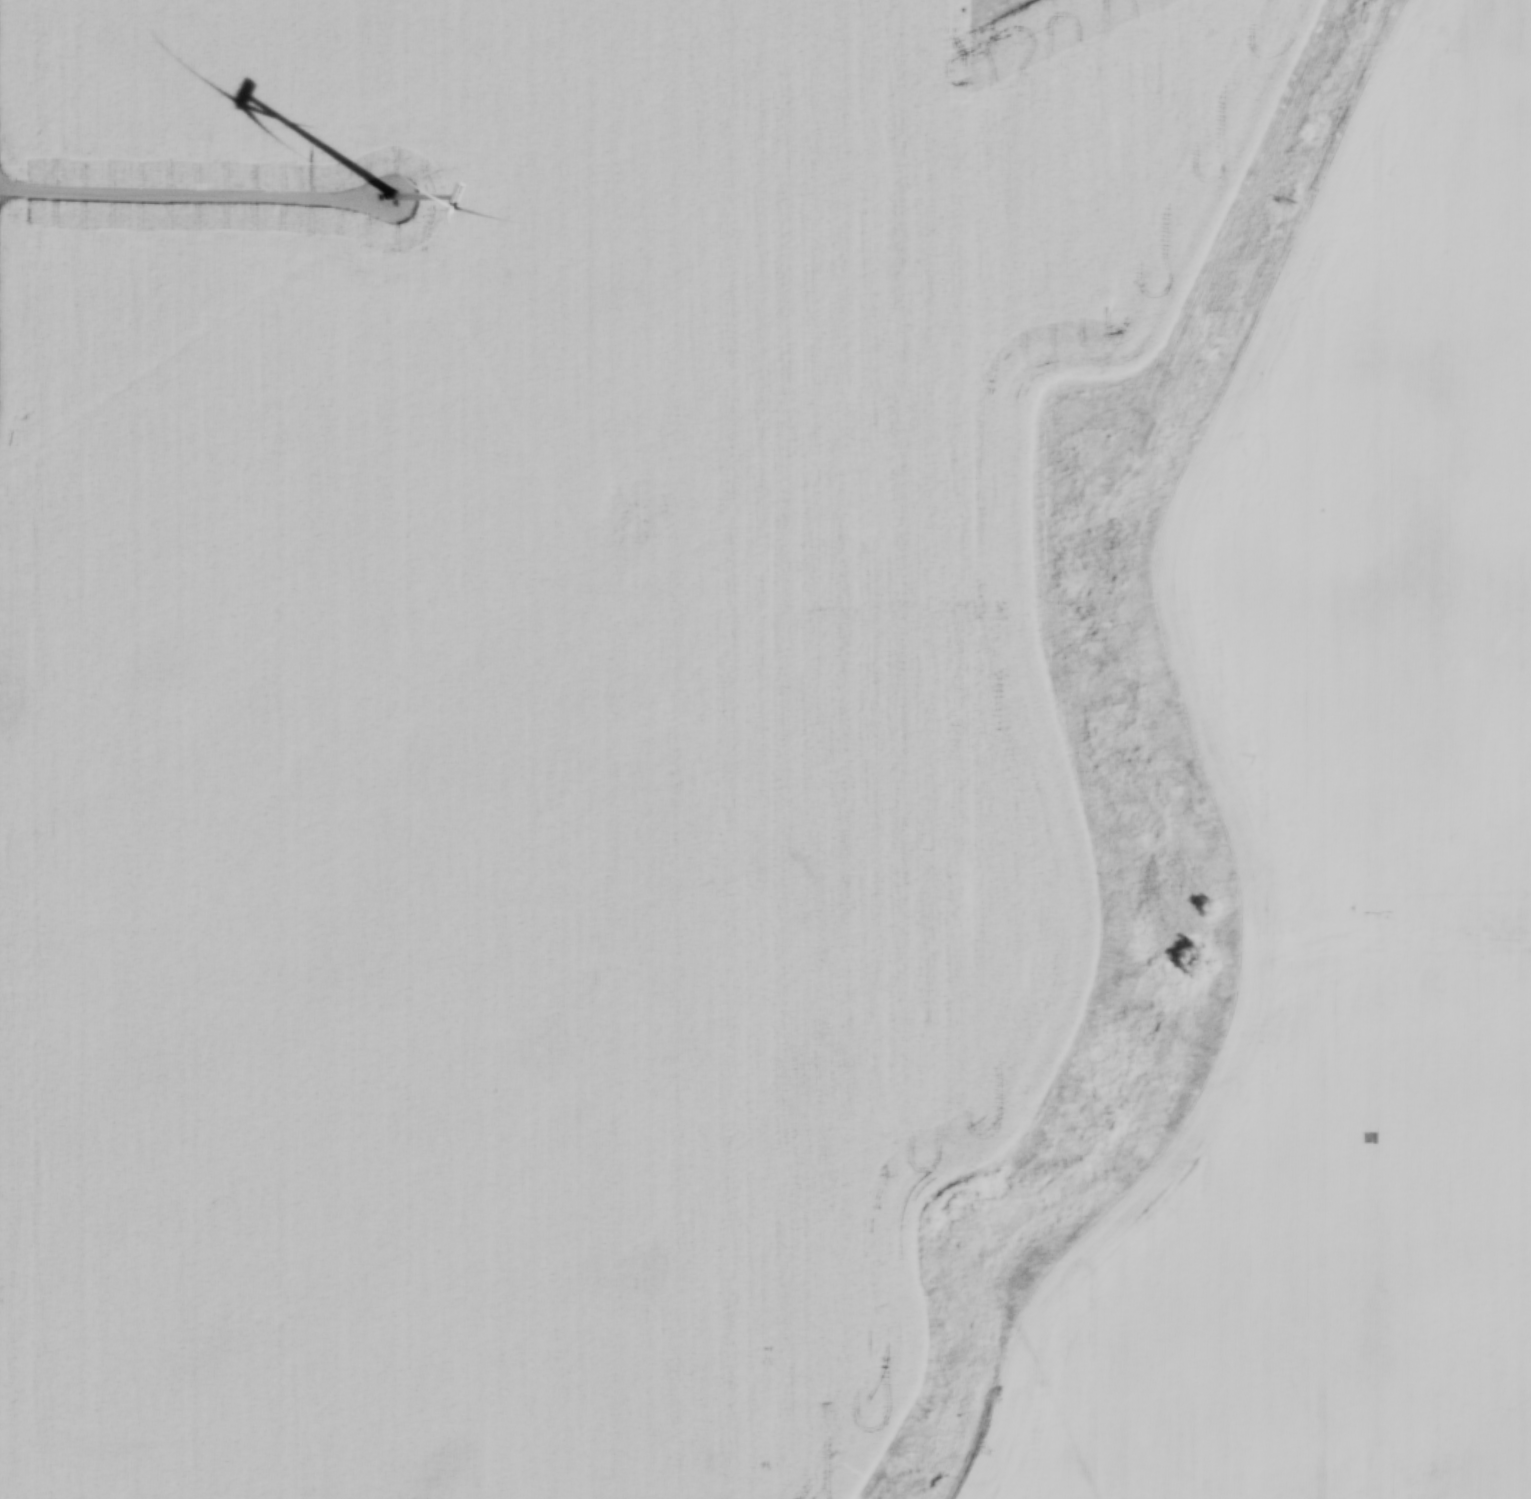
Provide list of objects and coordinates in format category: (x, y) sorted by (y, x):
wind turbine: (395, 200)

